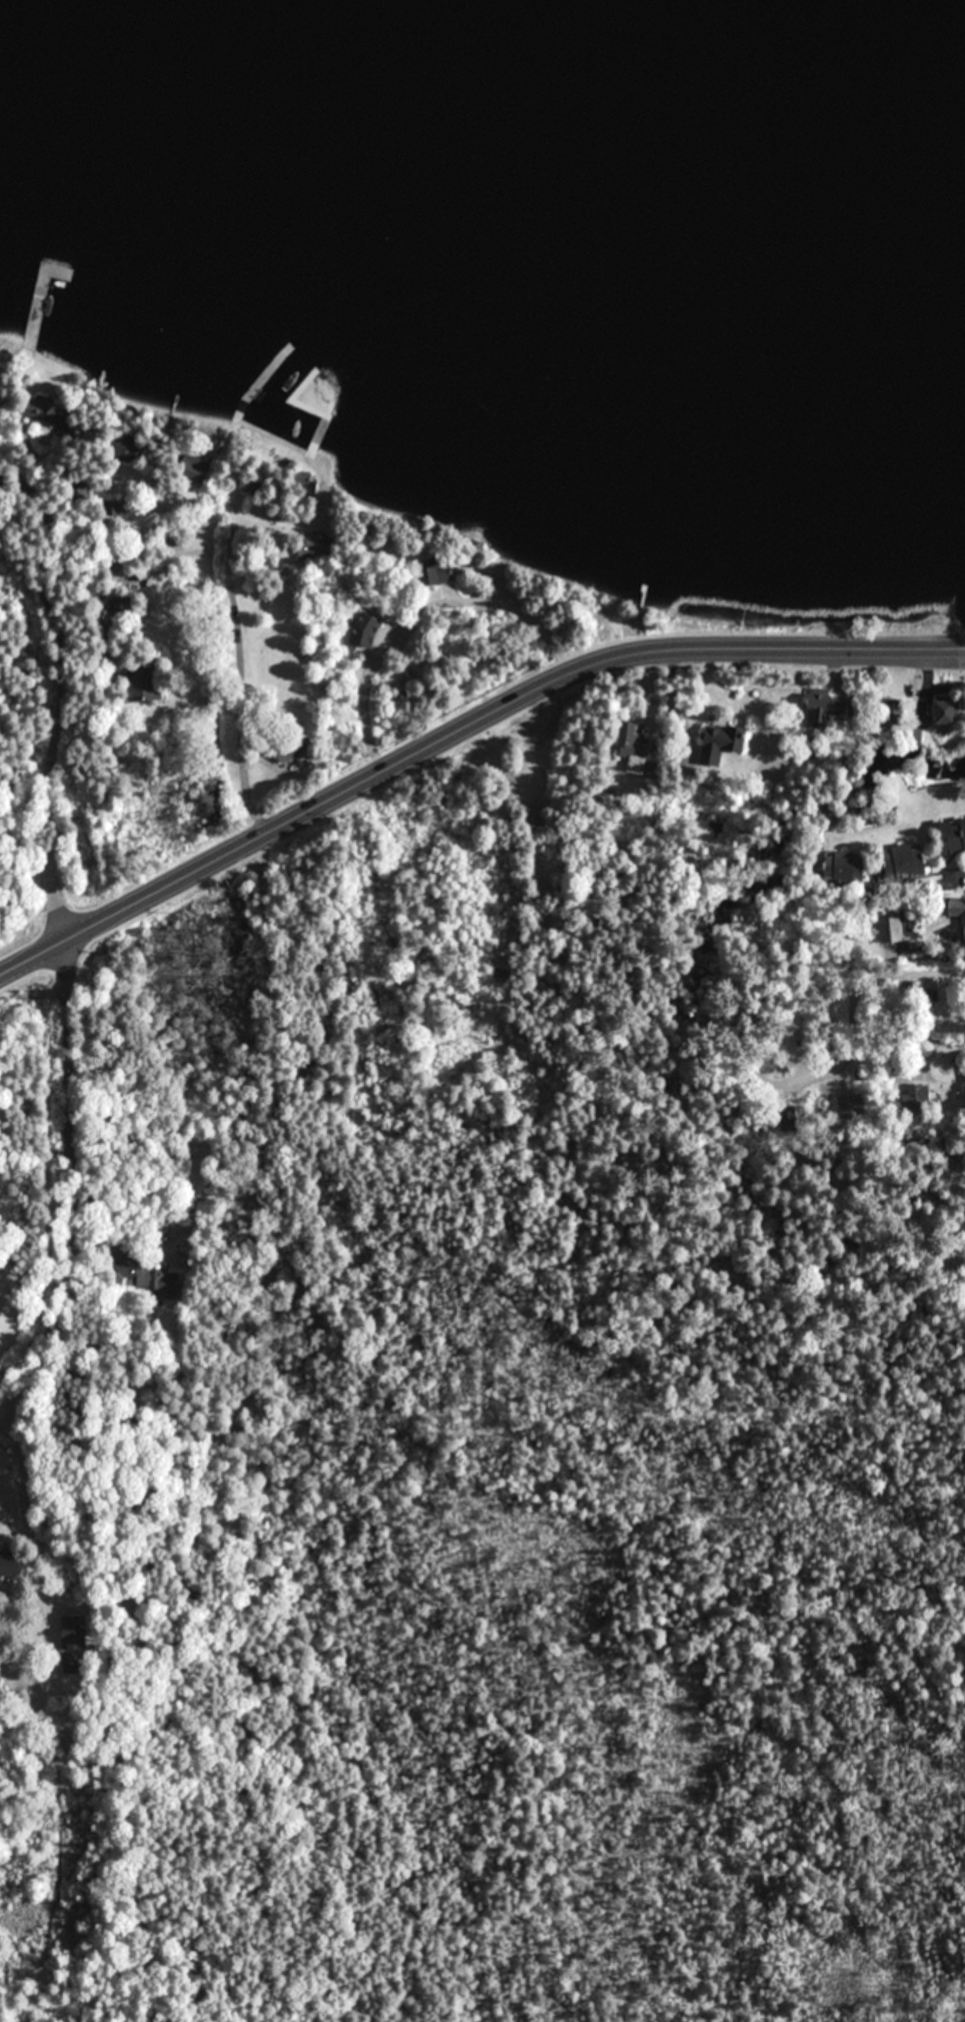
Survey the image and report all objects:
road: (423, 618)
road: (615, 646)
building: (821, 708)
road: (240, 712)
building: (938, 713)
road: (52, 736)
building: (631, 740)
building: (710, 744)
road: (531, 750)
parking lot: (531, 756)
building: (948, 836)
building: (899, 862)
building: (839, 863)
road: (150, 880)
road: (939, 881)
building: (955, 910)
building: (892, 932)
road: (924, 974)
road: (963, 1055)
building: (919, 1096)
building: (852, 1105)
road: (70, 1183)
building: (71, 1633)

